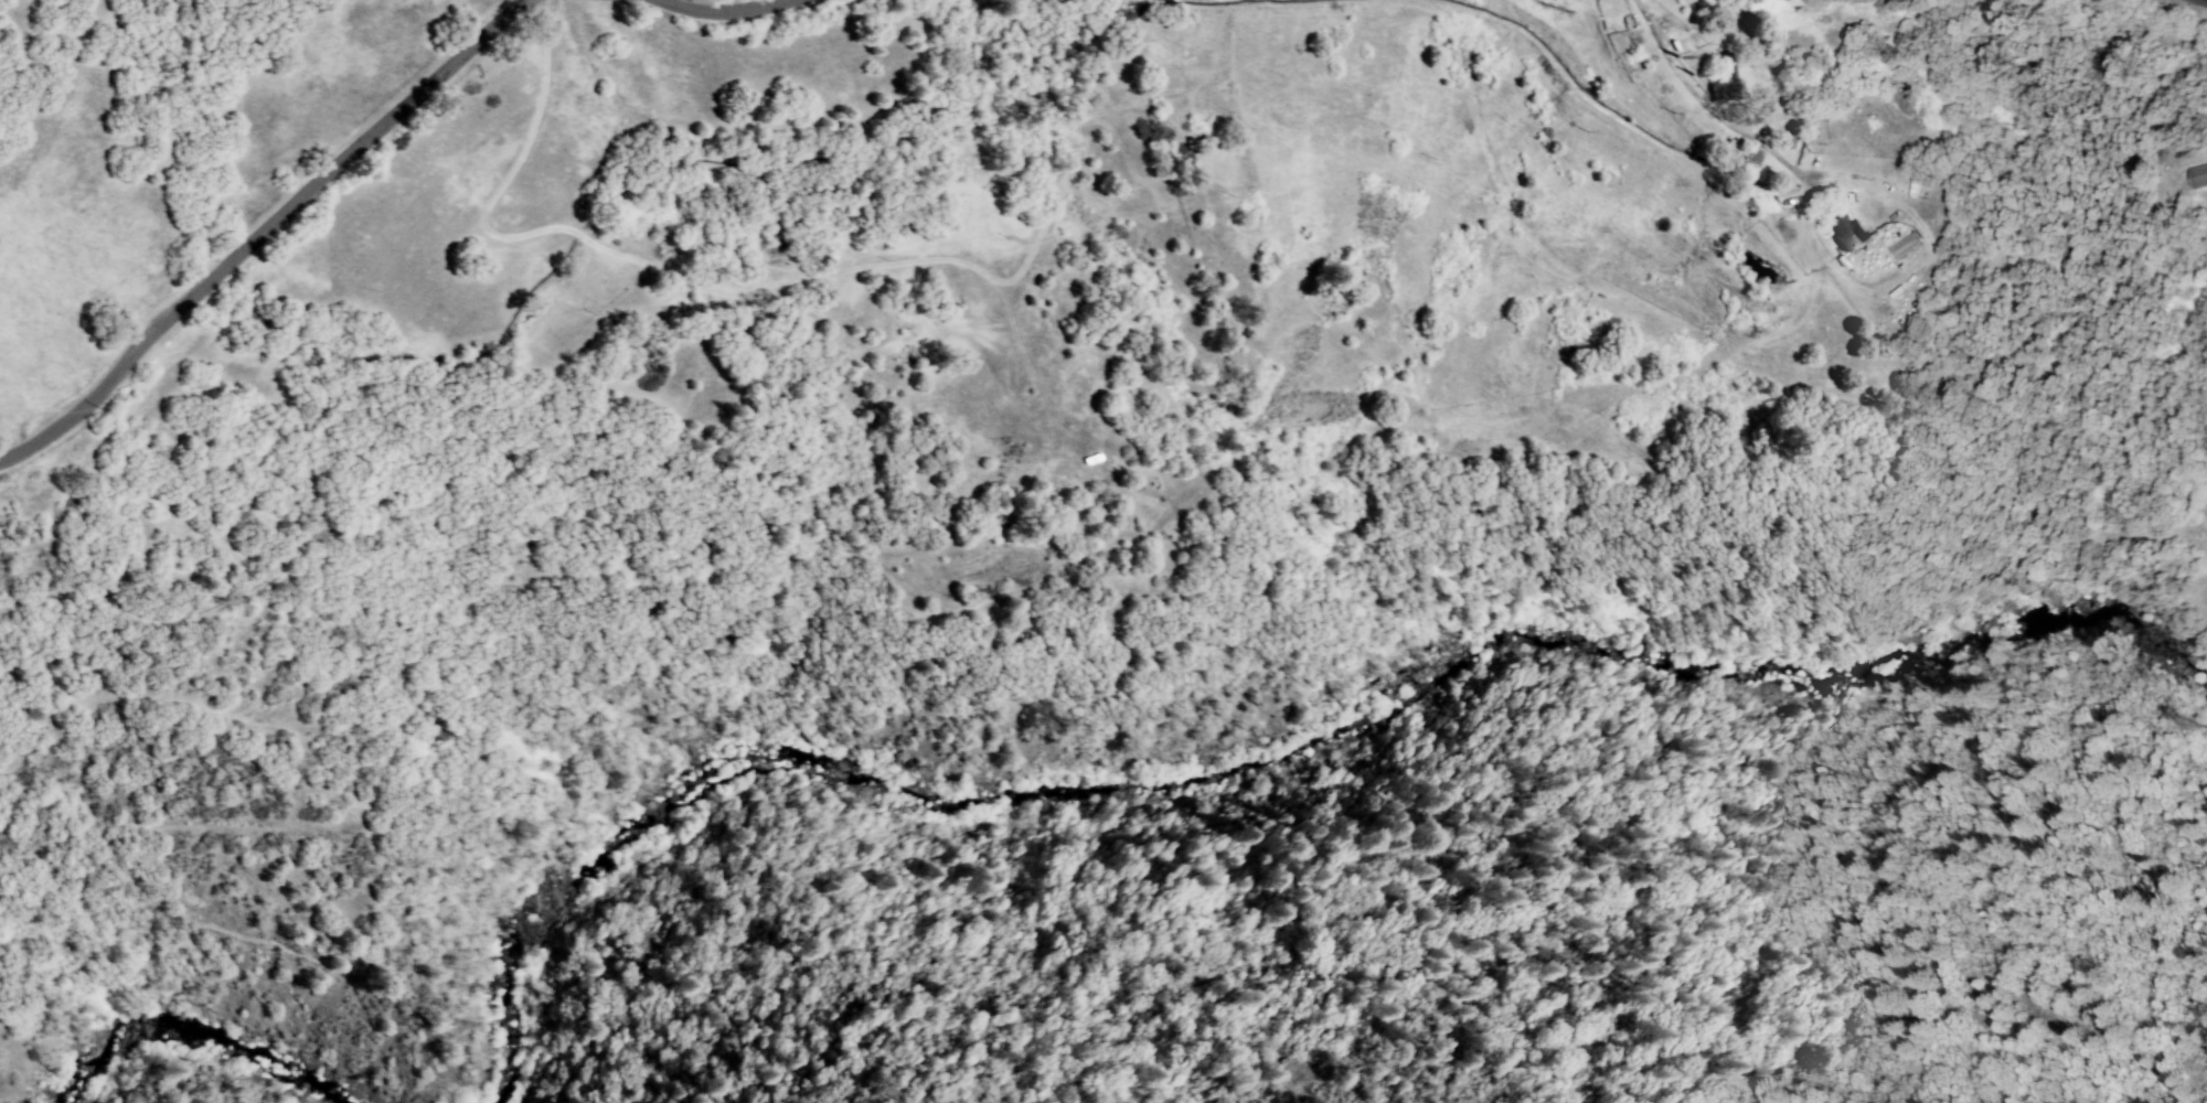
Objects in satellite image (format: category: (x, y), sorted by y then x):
road: (2205, 0)
road: (723, 12)
road: (1713, 113)
building: (2198, 178)
building: (1847, 233)
road: (262, 234)

